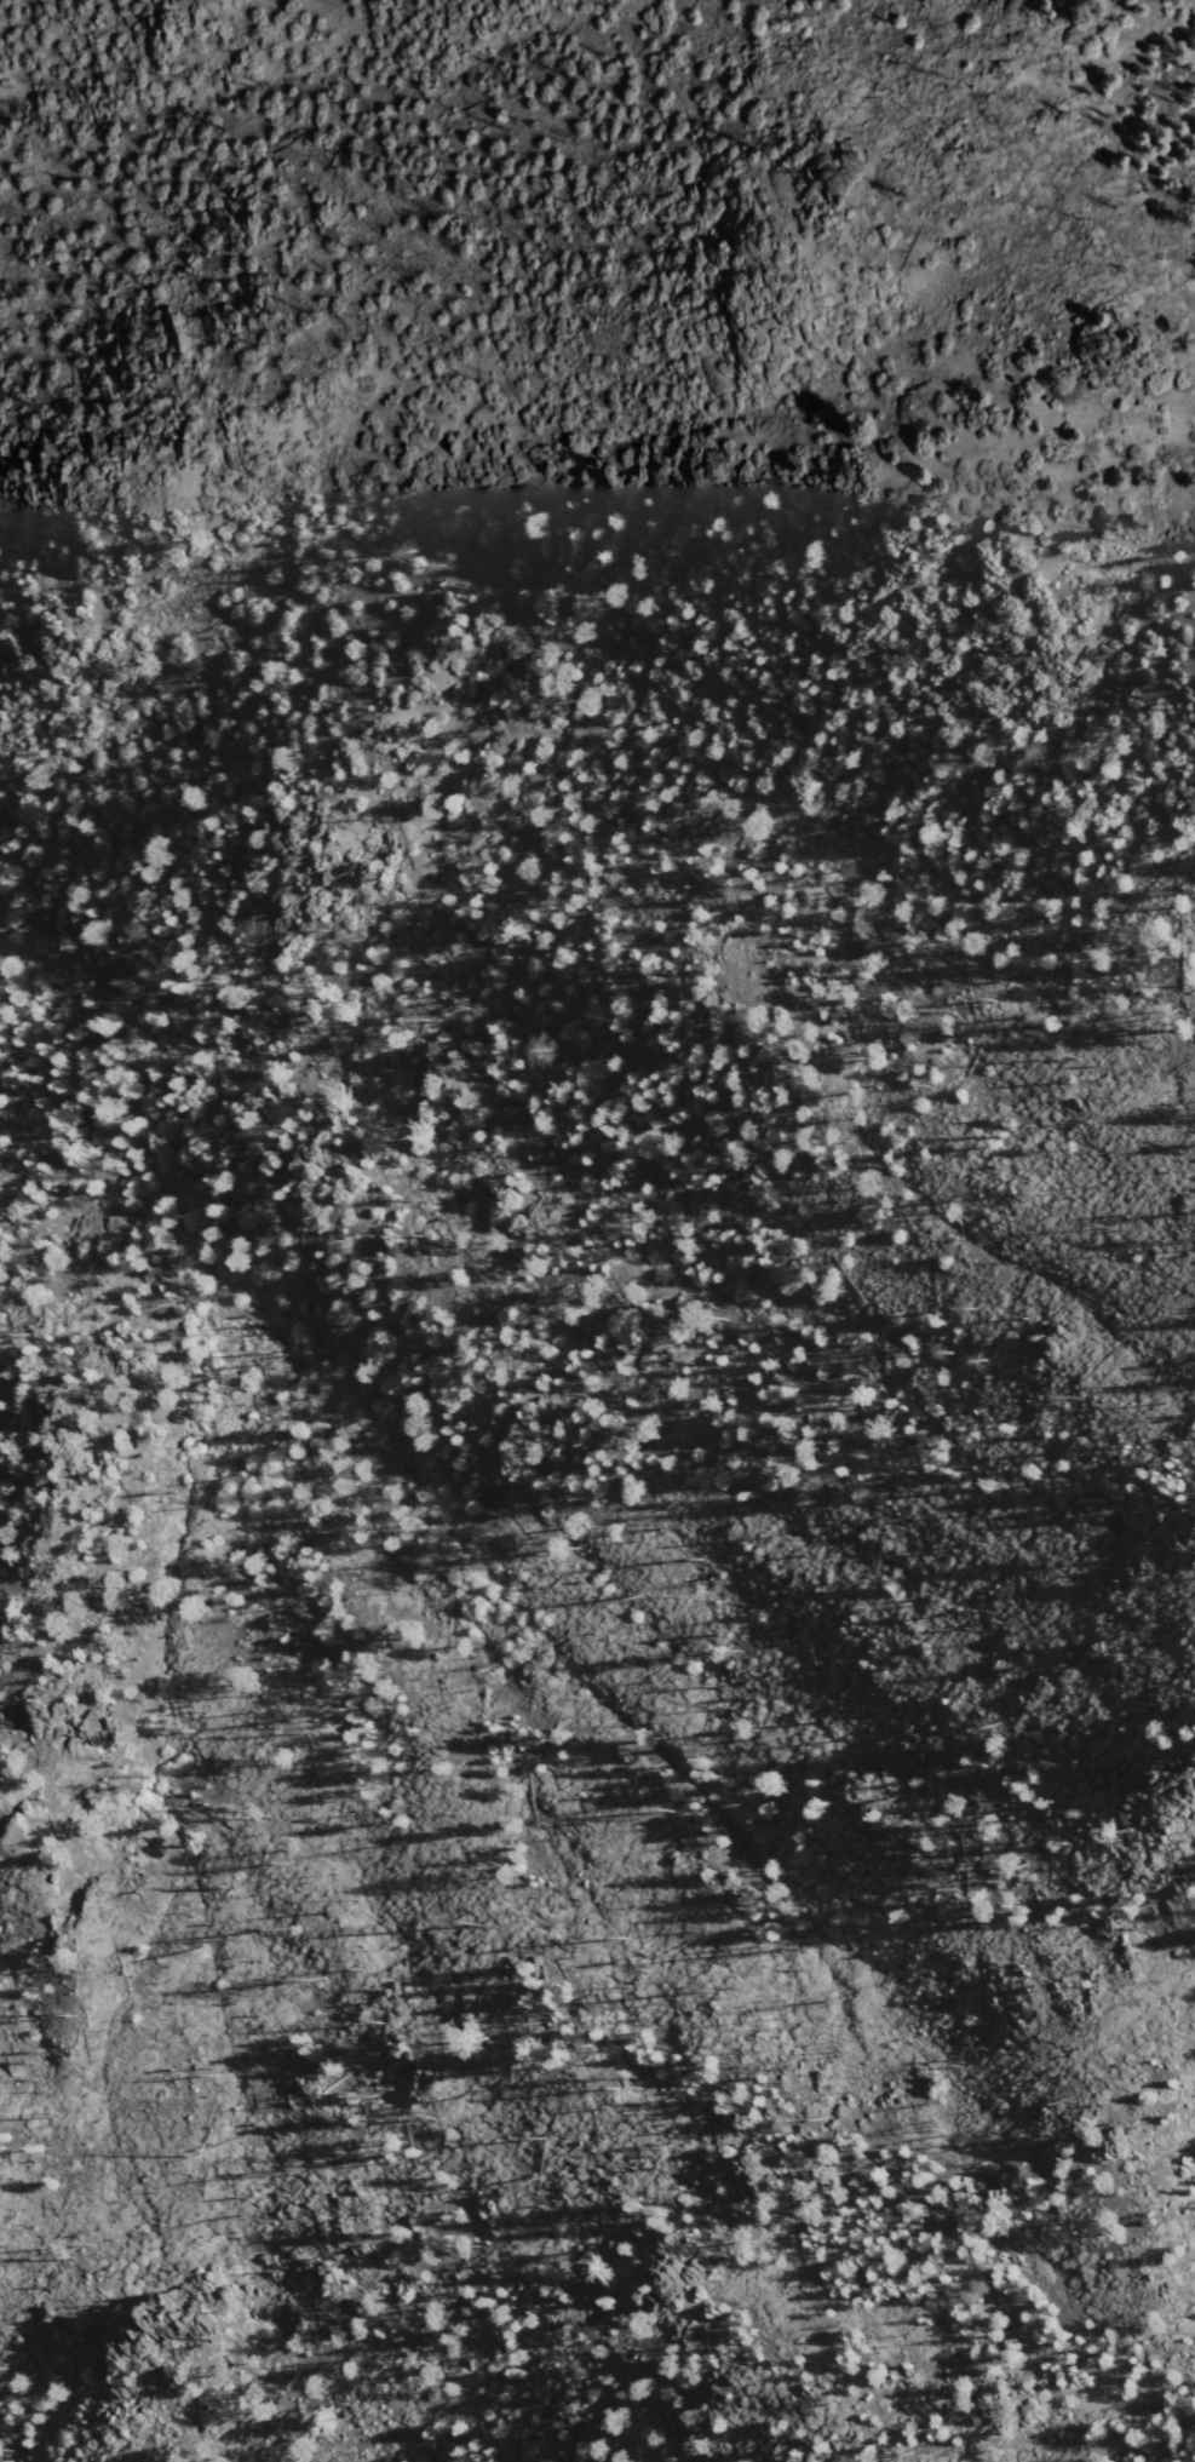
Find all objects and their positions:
road: (1116, 2381)

